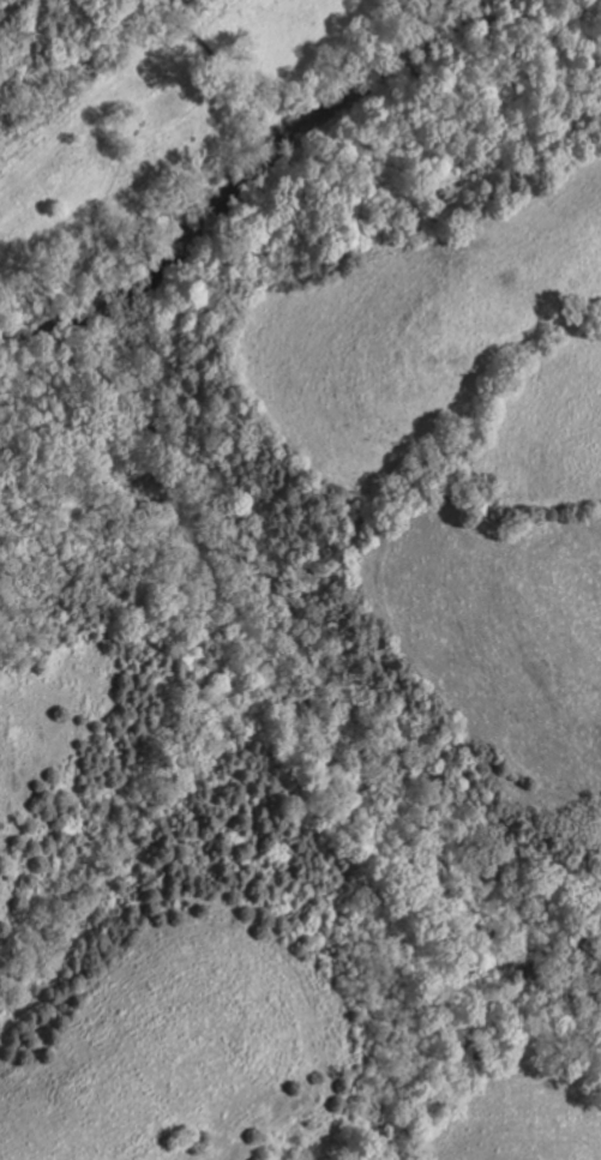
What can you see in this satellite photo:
road: (222, 200)

